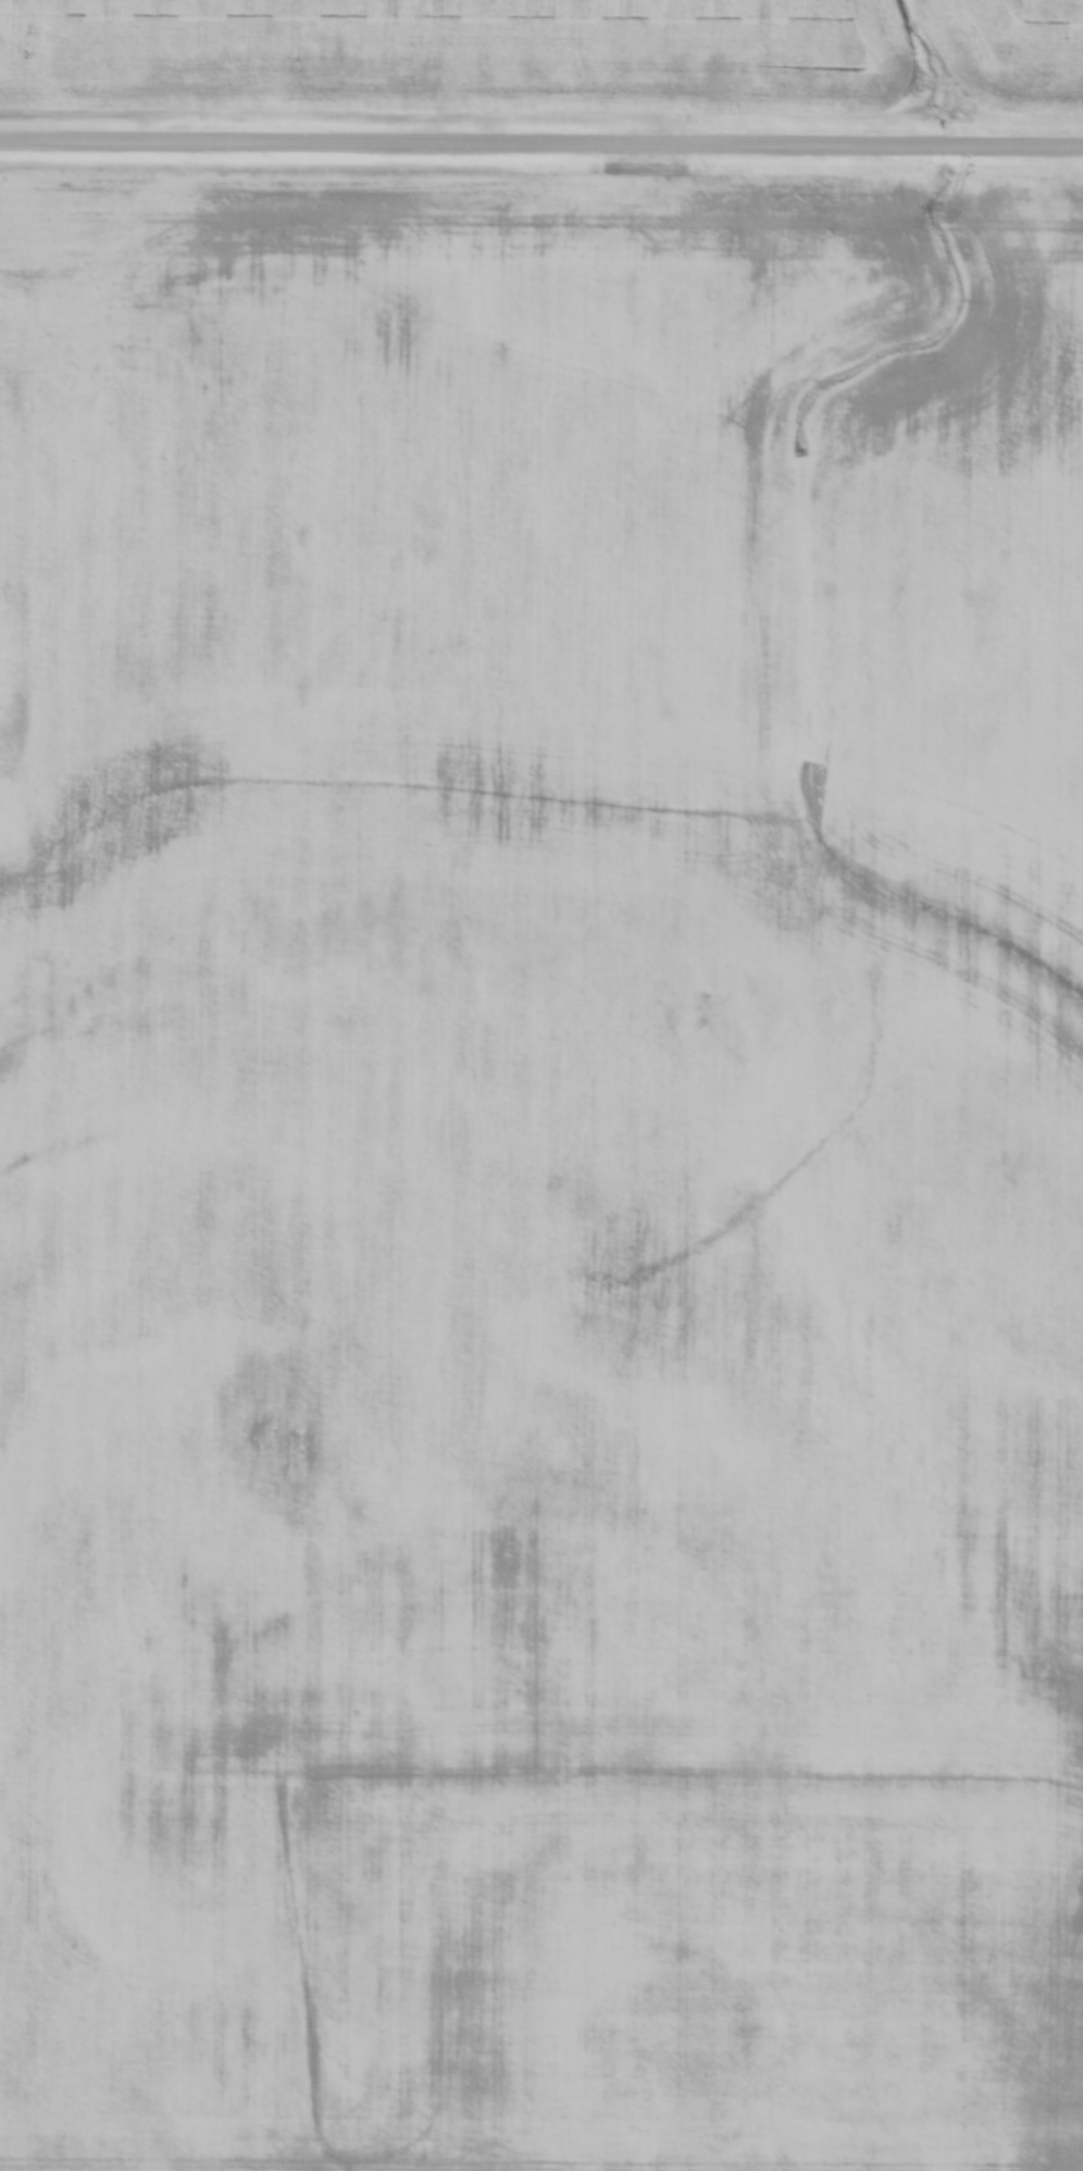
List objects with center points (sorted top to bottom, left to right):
road: (541, 146)

